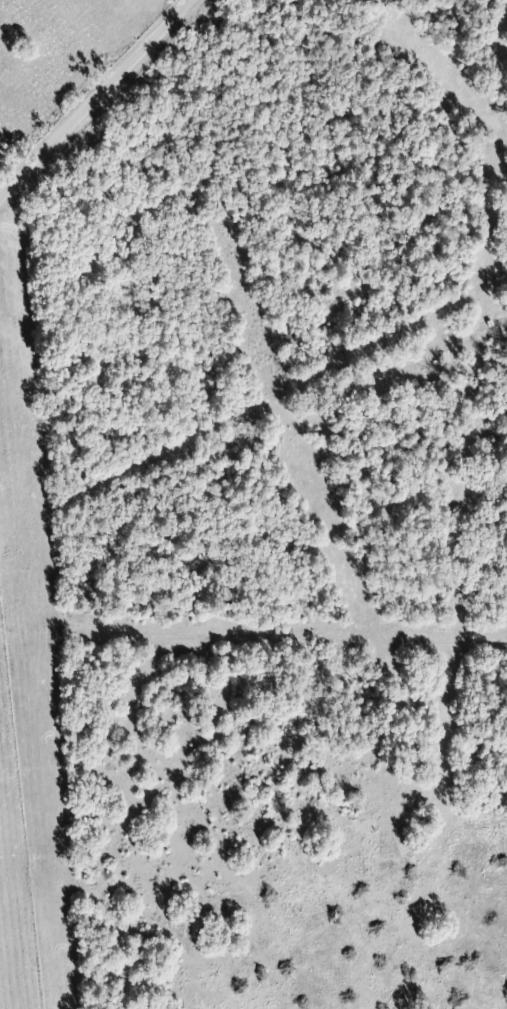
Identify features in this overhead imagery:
road: (135, 55)
road: (41, 152)

